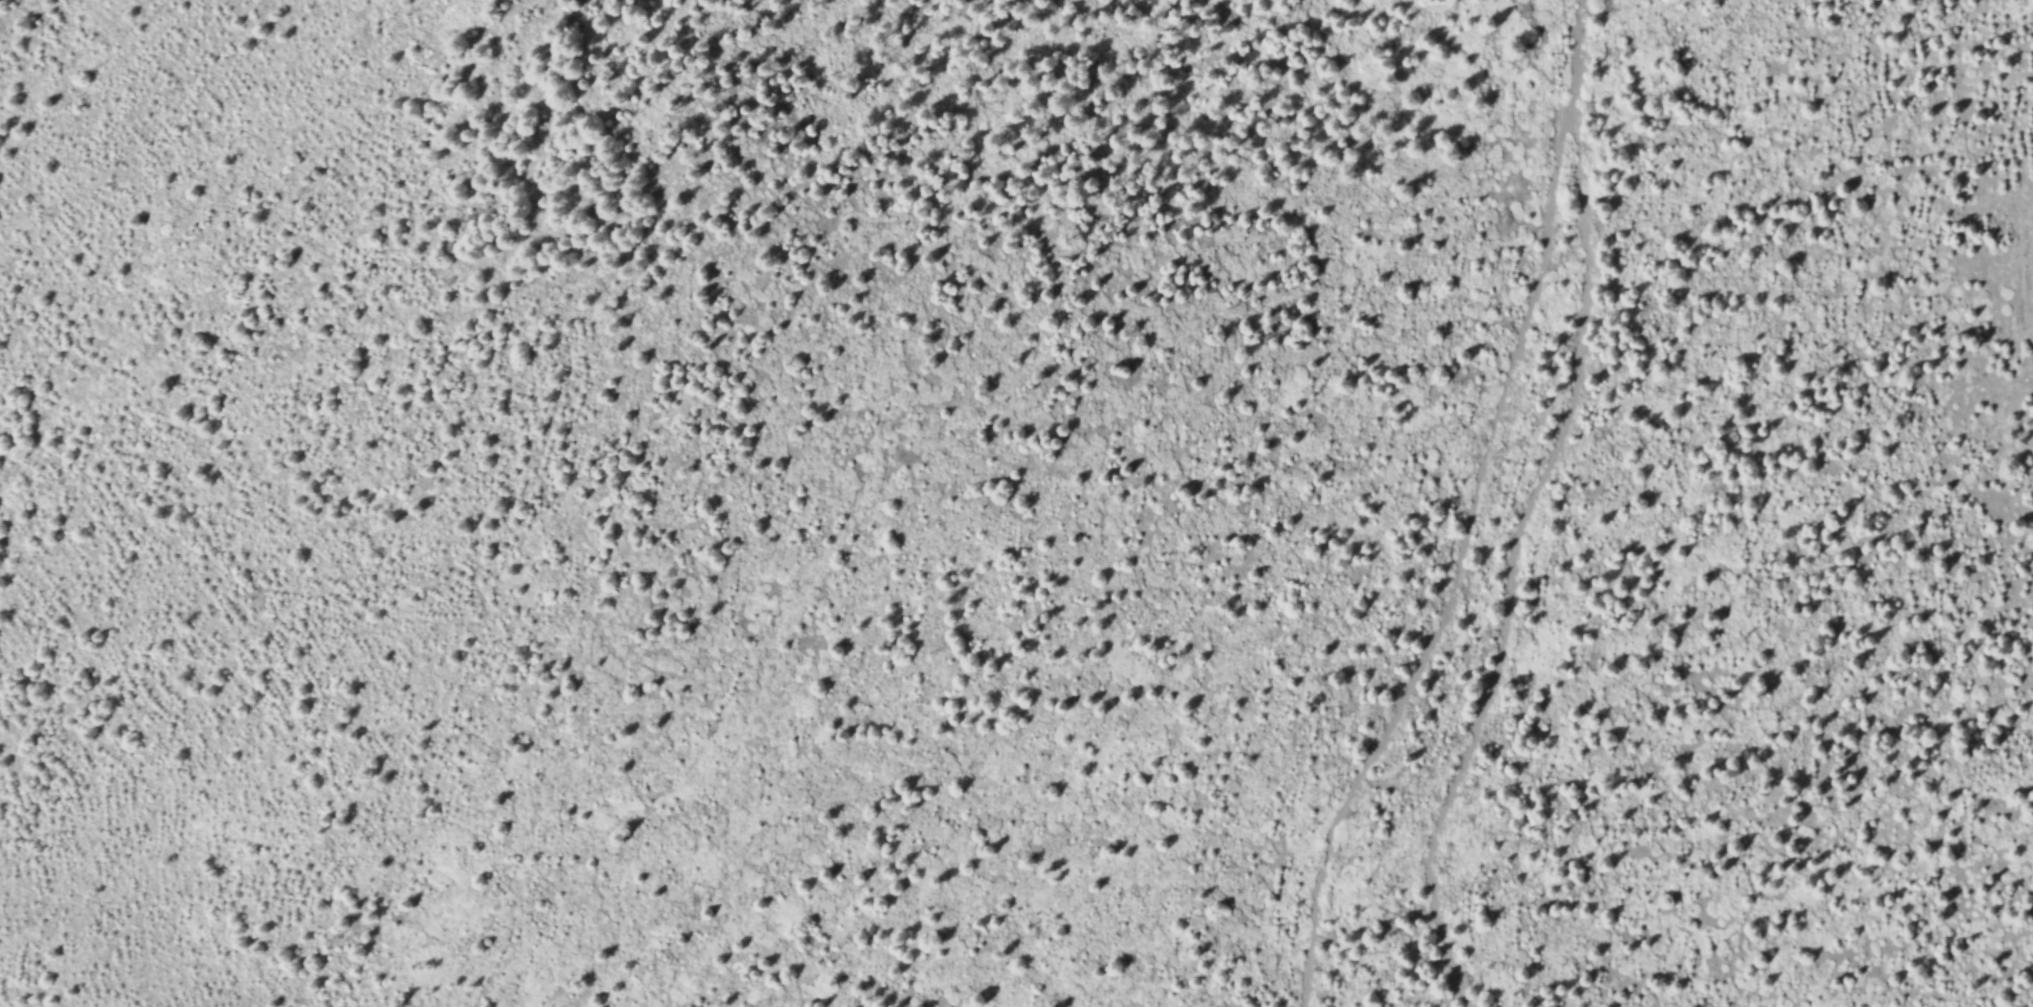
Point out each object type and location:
road: (868, 23)
road: (1527, 507)
road: (1462, 556)

